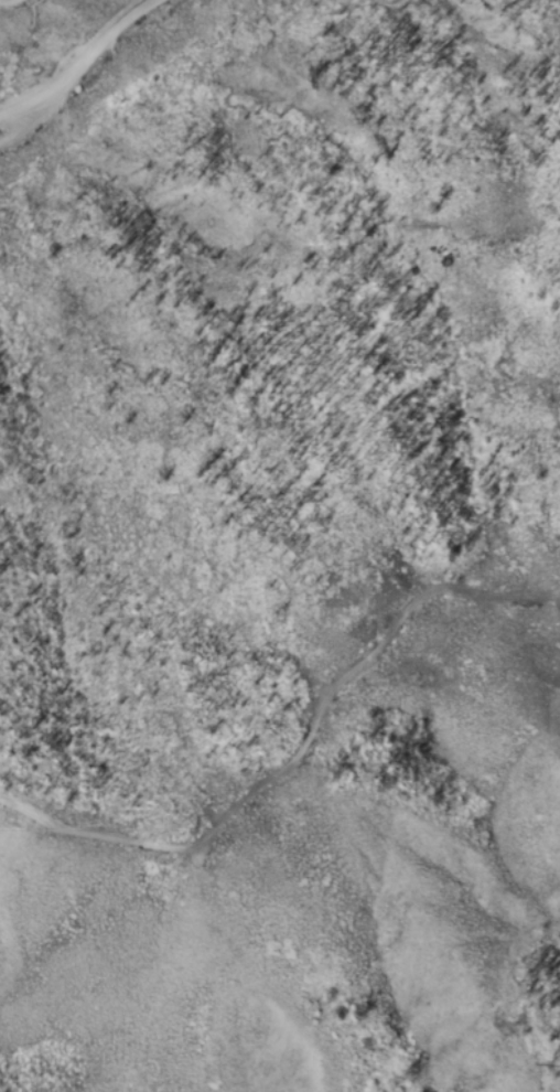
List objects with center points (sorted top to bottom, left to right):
road: (11, 4)
road: (130, 4)
road: (78, 63)
road: (29, 121)
road: (552, 612)

